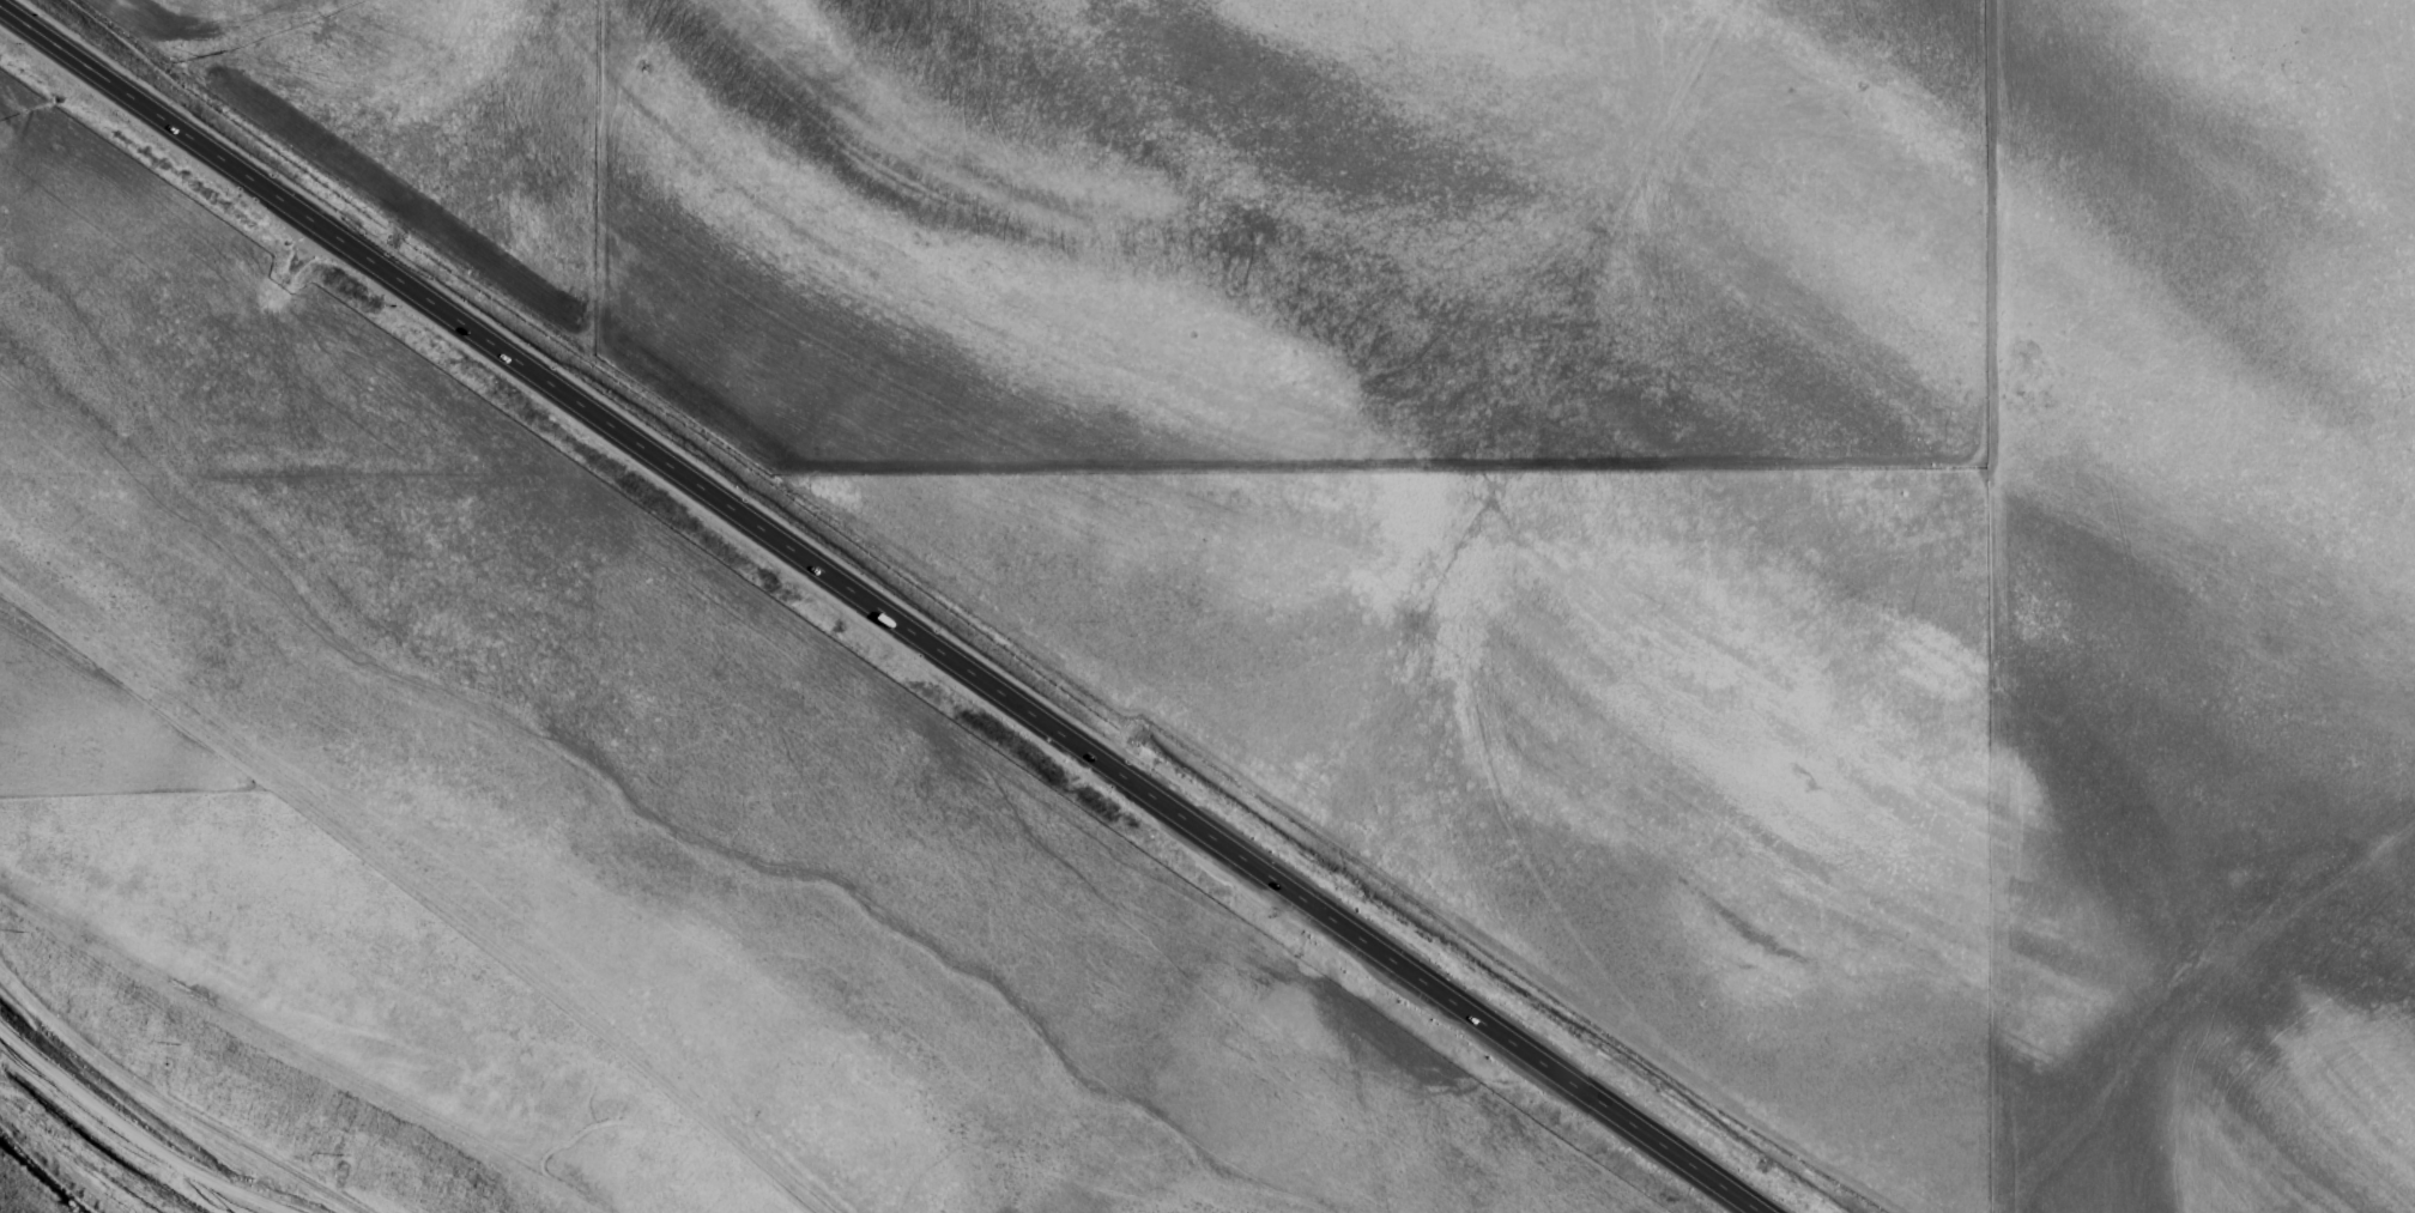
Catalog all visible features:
crop: (1209, 605)
road: (876, 611)

